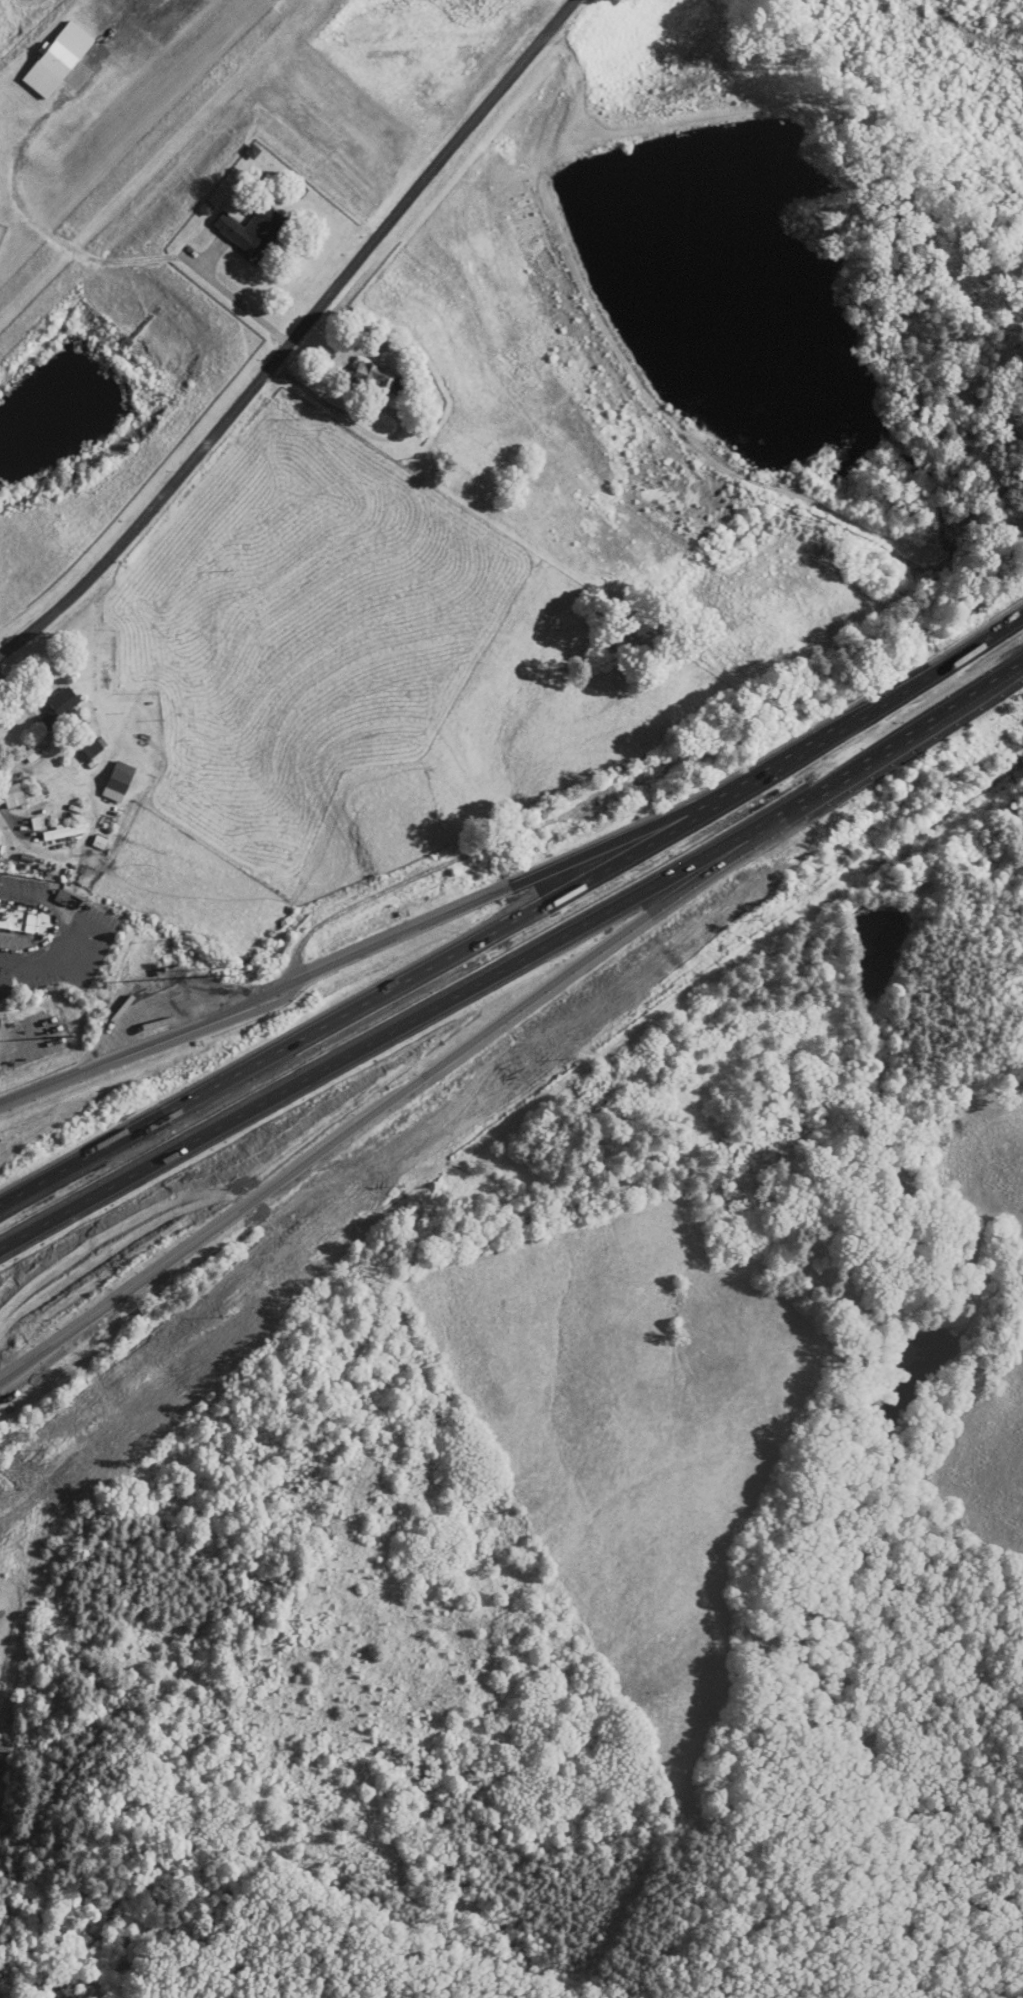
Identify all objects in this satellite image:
building: (65, 65)
building: (253, 230)
road: (242, 308)
road: (300, 339)
building: (380, 379)
road: (344, 414)
building: (61, 706)
road: (28, 708)
building: (90, 750)
building: (121, 777)
building: (14, 795)
building: (64, 832)
road: (521, 857)
road: (22, 895)
road: (517, 918)
building: (16, 920)
road: (58, 950)
road: (516, 961)
road: (504, 1083)

